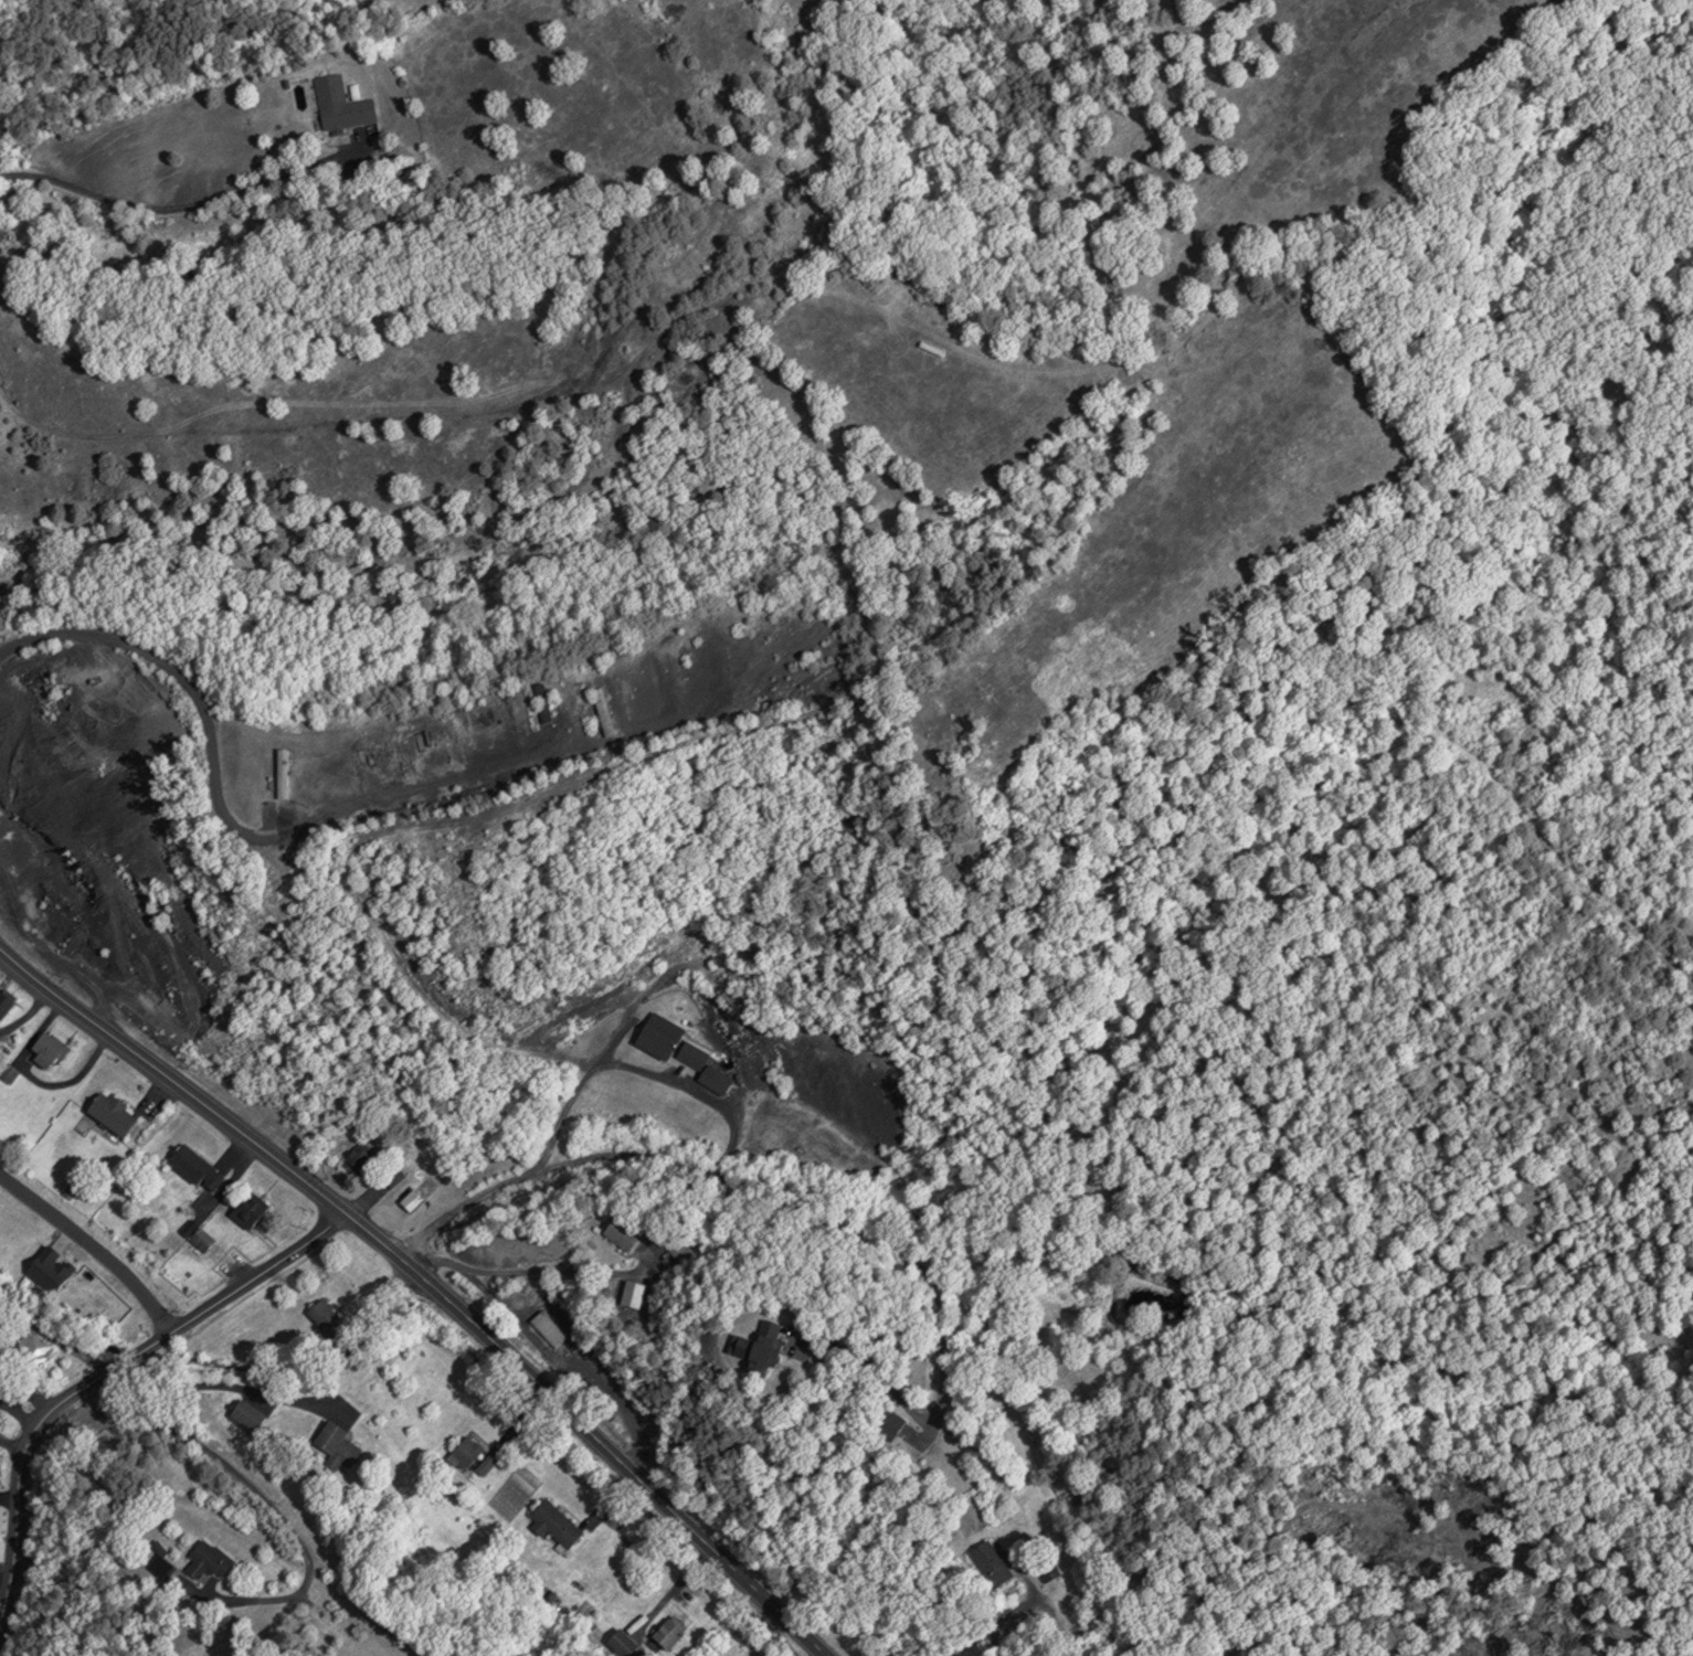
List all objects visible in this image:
building: (342, 103)
building: (0, 208)
building: (7, 1001)
building: (52, 1052)
building: (686, 1053)
building: (116, 1113)
building: (360, 1158)
building: (198, 1165)
building: (414, 1199)
road: (790, 1206)
building: (253, 1208)
building: (625, 1232)
building: (200, 1235)
road: (92, 1246)
road: (425, 1285)
building: (635, 1293)
building: (330, 1318)
building: (548, 1328)
building: (769, 1344)
building: (32, 1347)
road: (98, 1379)
building: (246, 1416)
building: (338, 1442)
building: (469, 1452)
building: (489, 1461)
building: (558, 1522)
building: (212, 1560)
building: (995, 1562)
building: (396, 1627)
building: (670, 1630)
building: (623, 1642)

